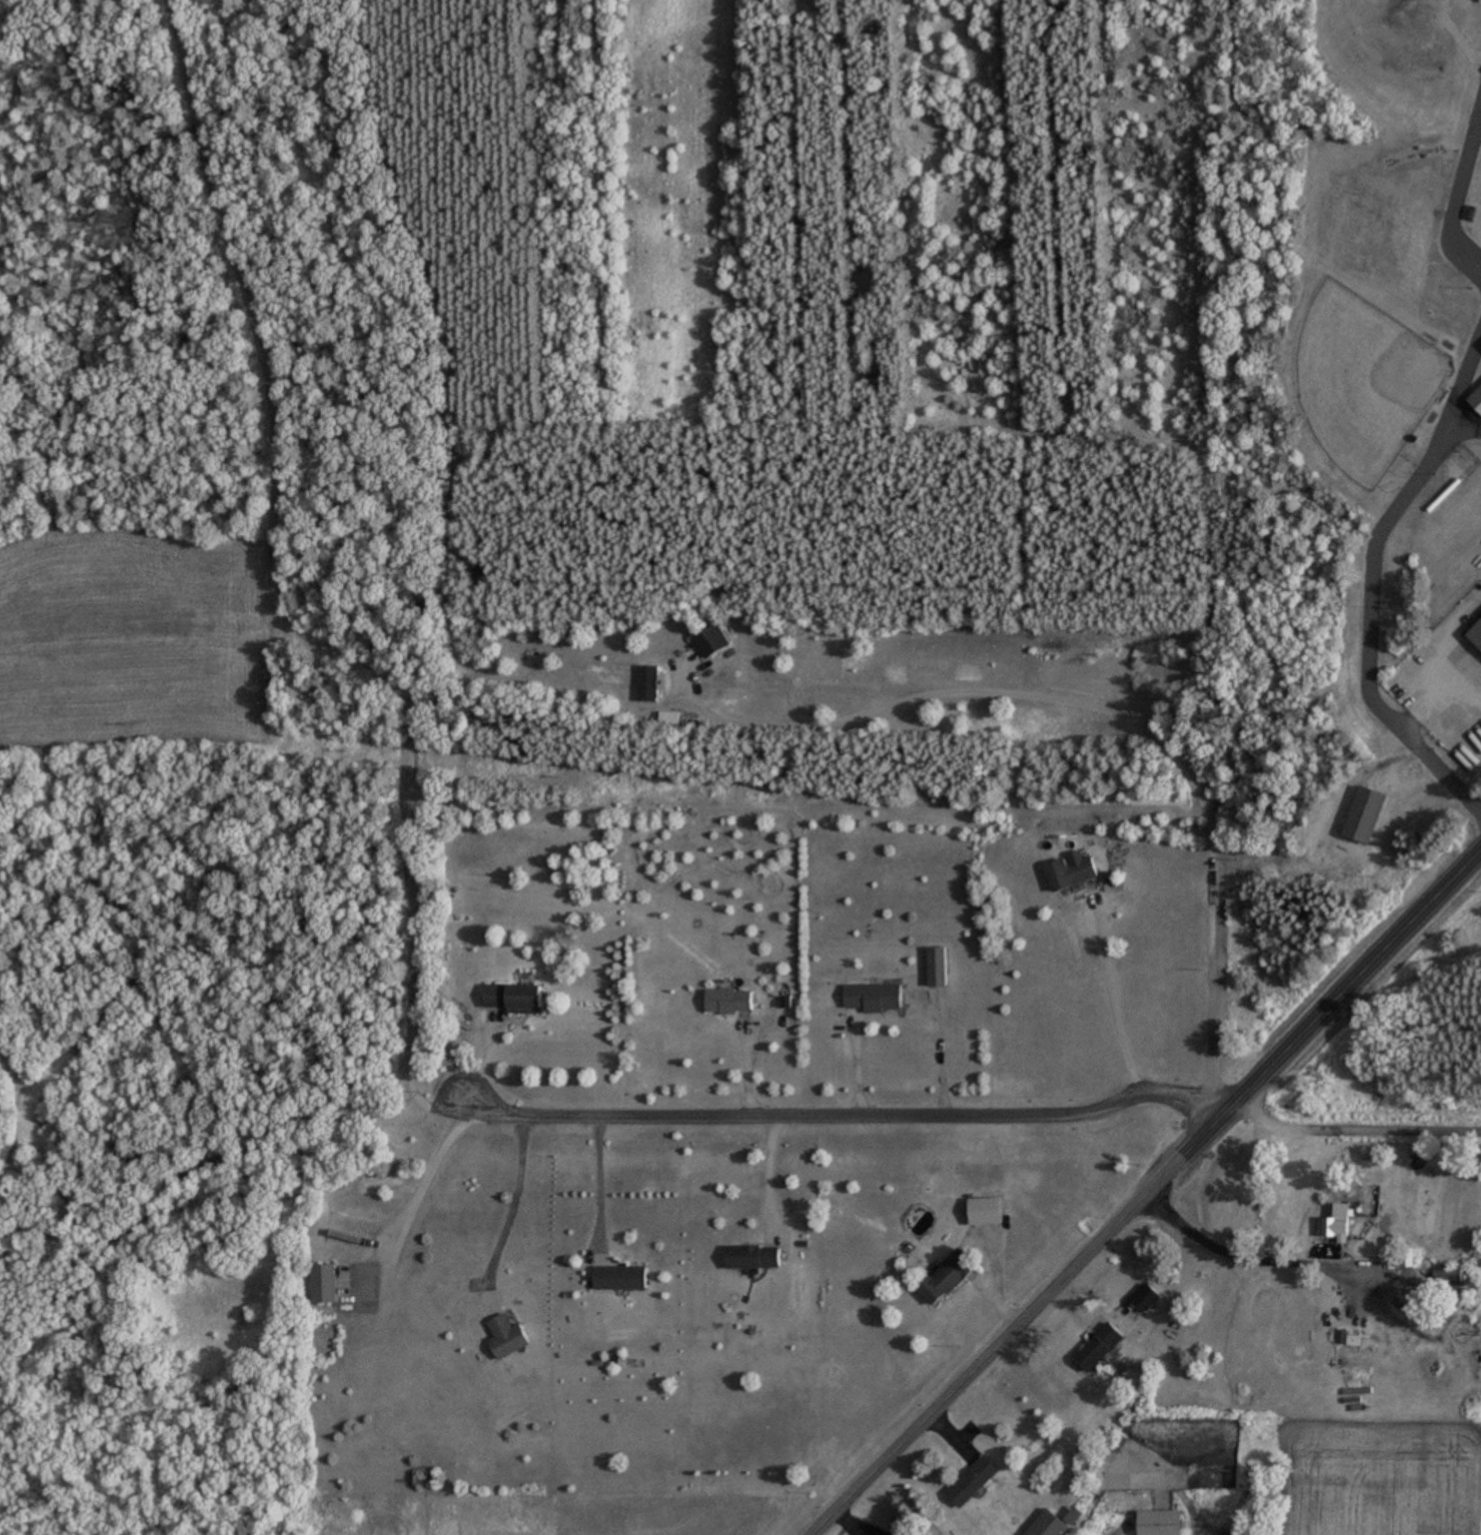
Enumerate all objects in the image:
road: (1453, 193)
park: (1350, 391)
building: (1475, 398)
road: (1366, 583)
road: (272, 613)
building: (1473, 631)
building: (710, 642)
building: (647, 685)
road: (1443, 700)
building: (669, 721)
road: (1074, 725)
building: (1069, 873)
building: (936, 968)
building: (511, 998)
building: (873, 998)
building: (727, 1002)
road: (1318, 1019)
road: (844, 1116)
road: (767, 1173)
road: (427, 1176)
road: (597, 1181)
road: (511, 1198)
building: (984, 1212)
building: (1339, 1222)
building: (751, 1257)
building: (1412, 1258)
road: (1246, 1264)
building: (1447, 1274)
building: (945, 1278)
building: (619, 1279)
building: (322, 1284)
building: (505, 1338)
building: (1099, 1345)
road: (983, 1363)
road: (1231, 1444)
building: (972, 1483)
building: (1158, 1523)
building: (1050, 1525)

